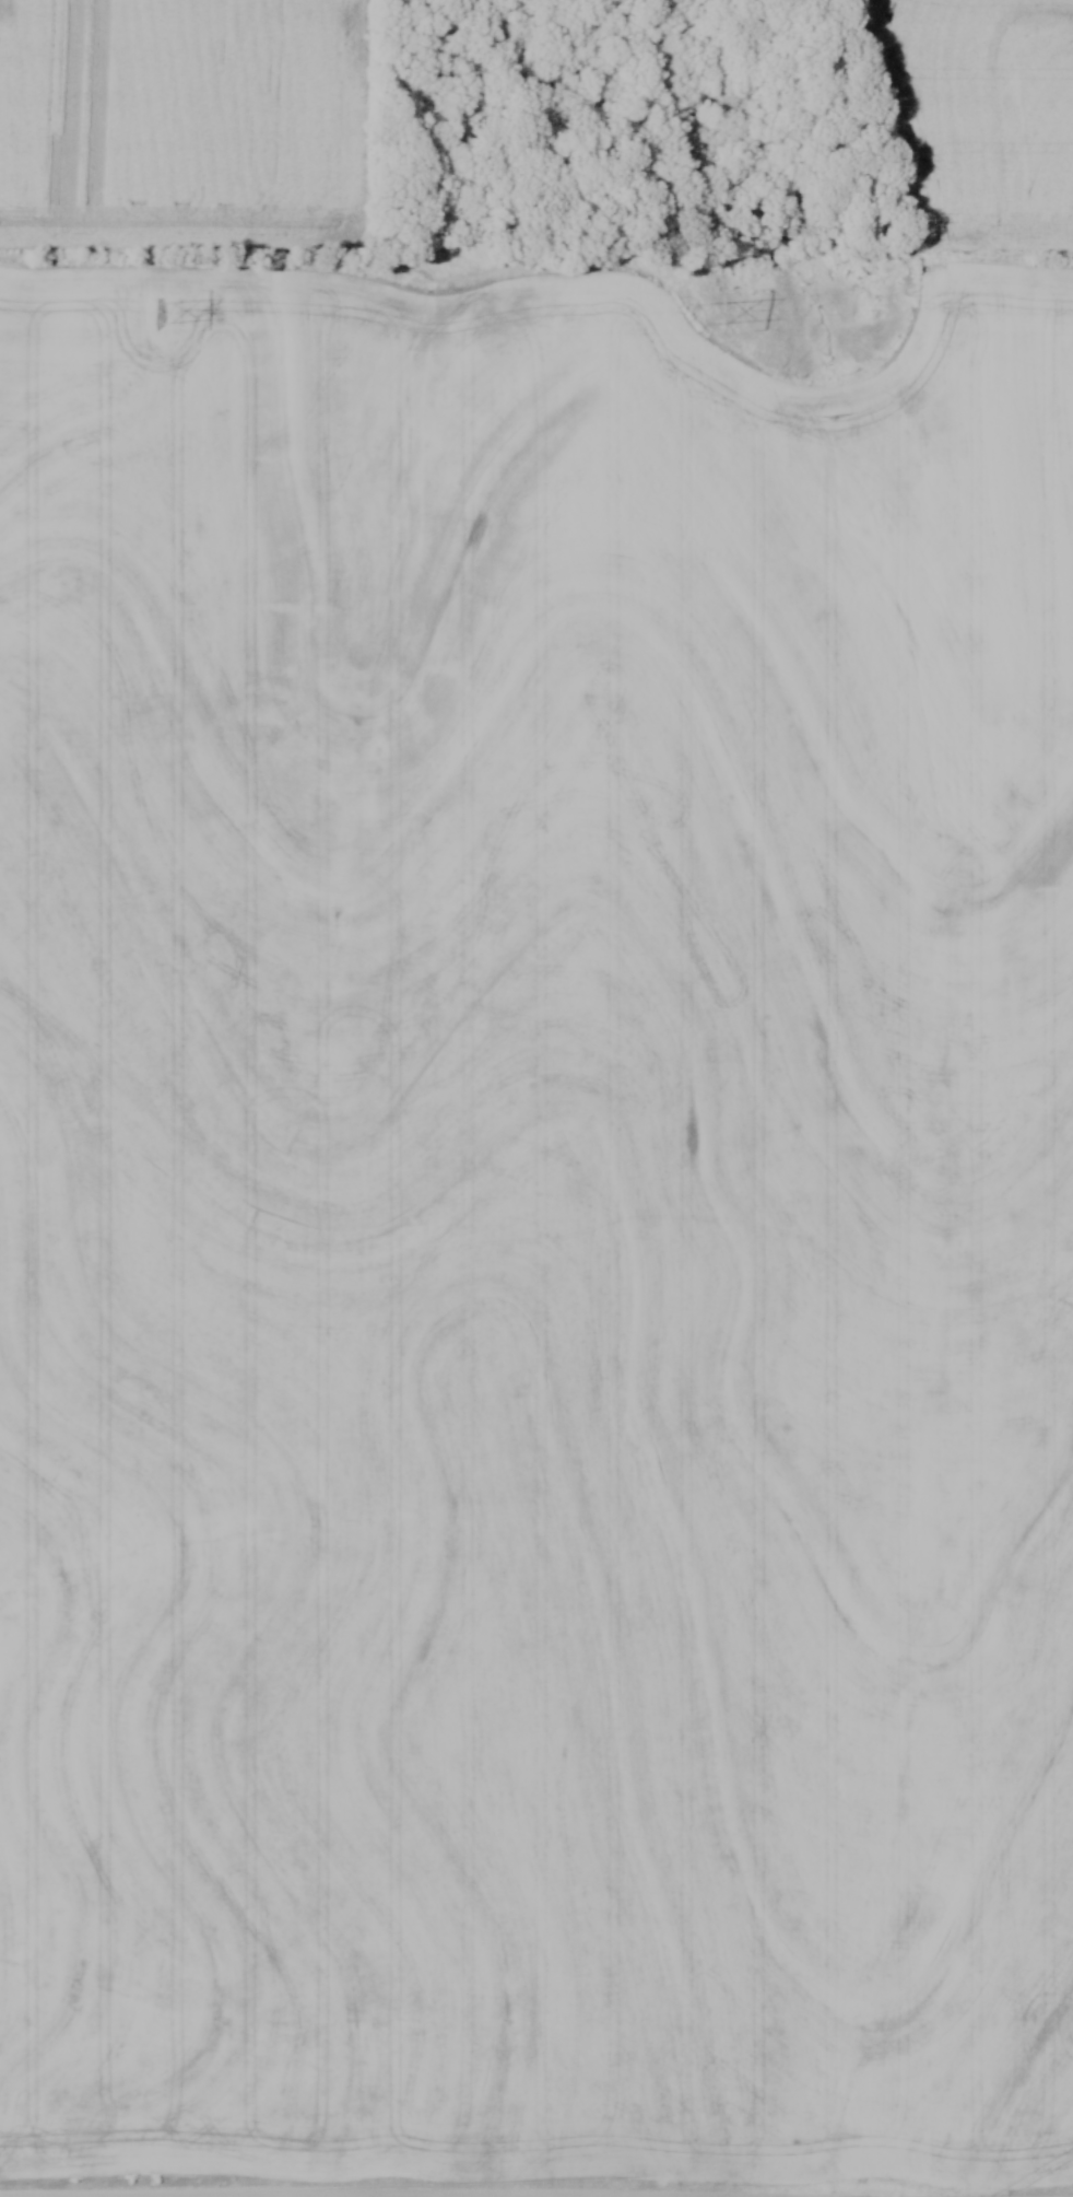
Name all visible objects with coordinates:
power tower: (161, 313)
power tower: (697, 313)

